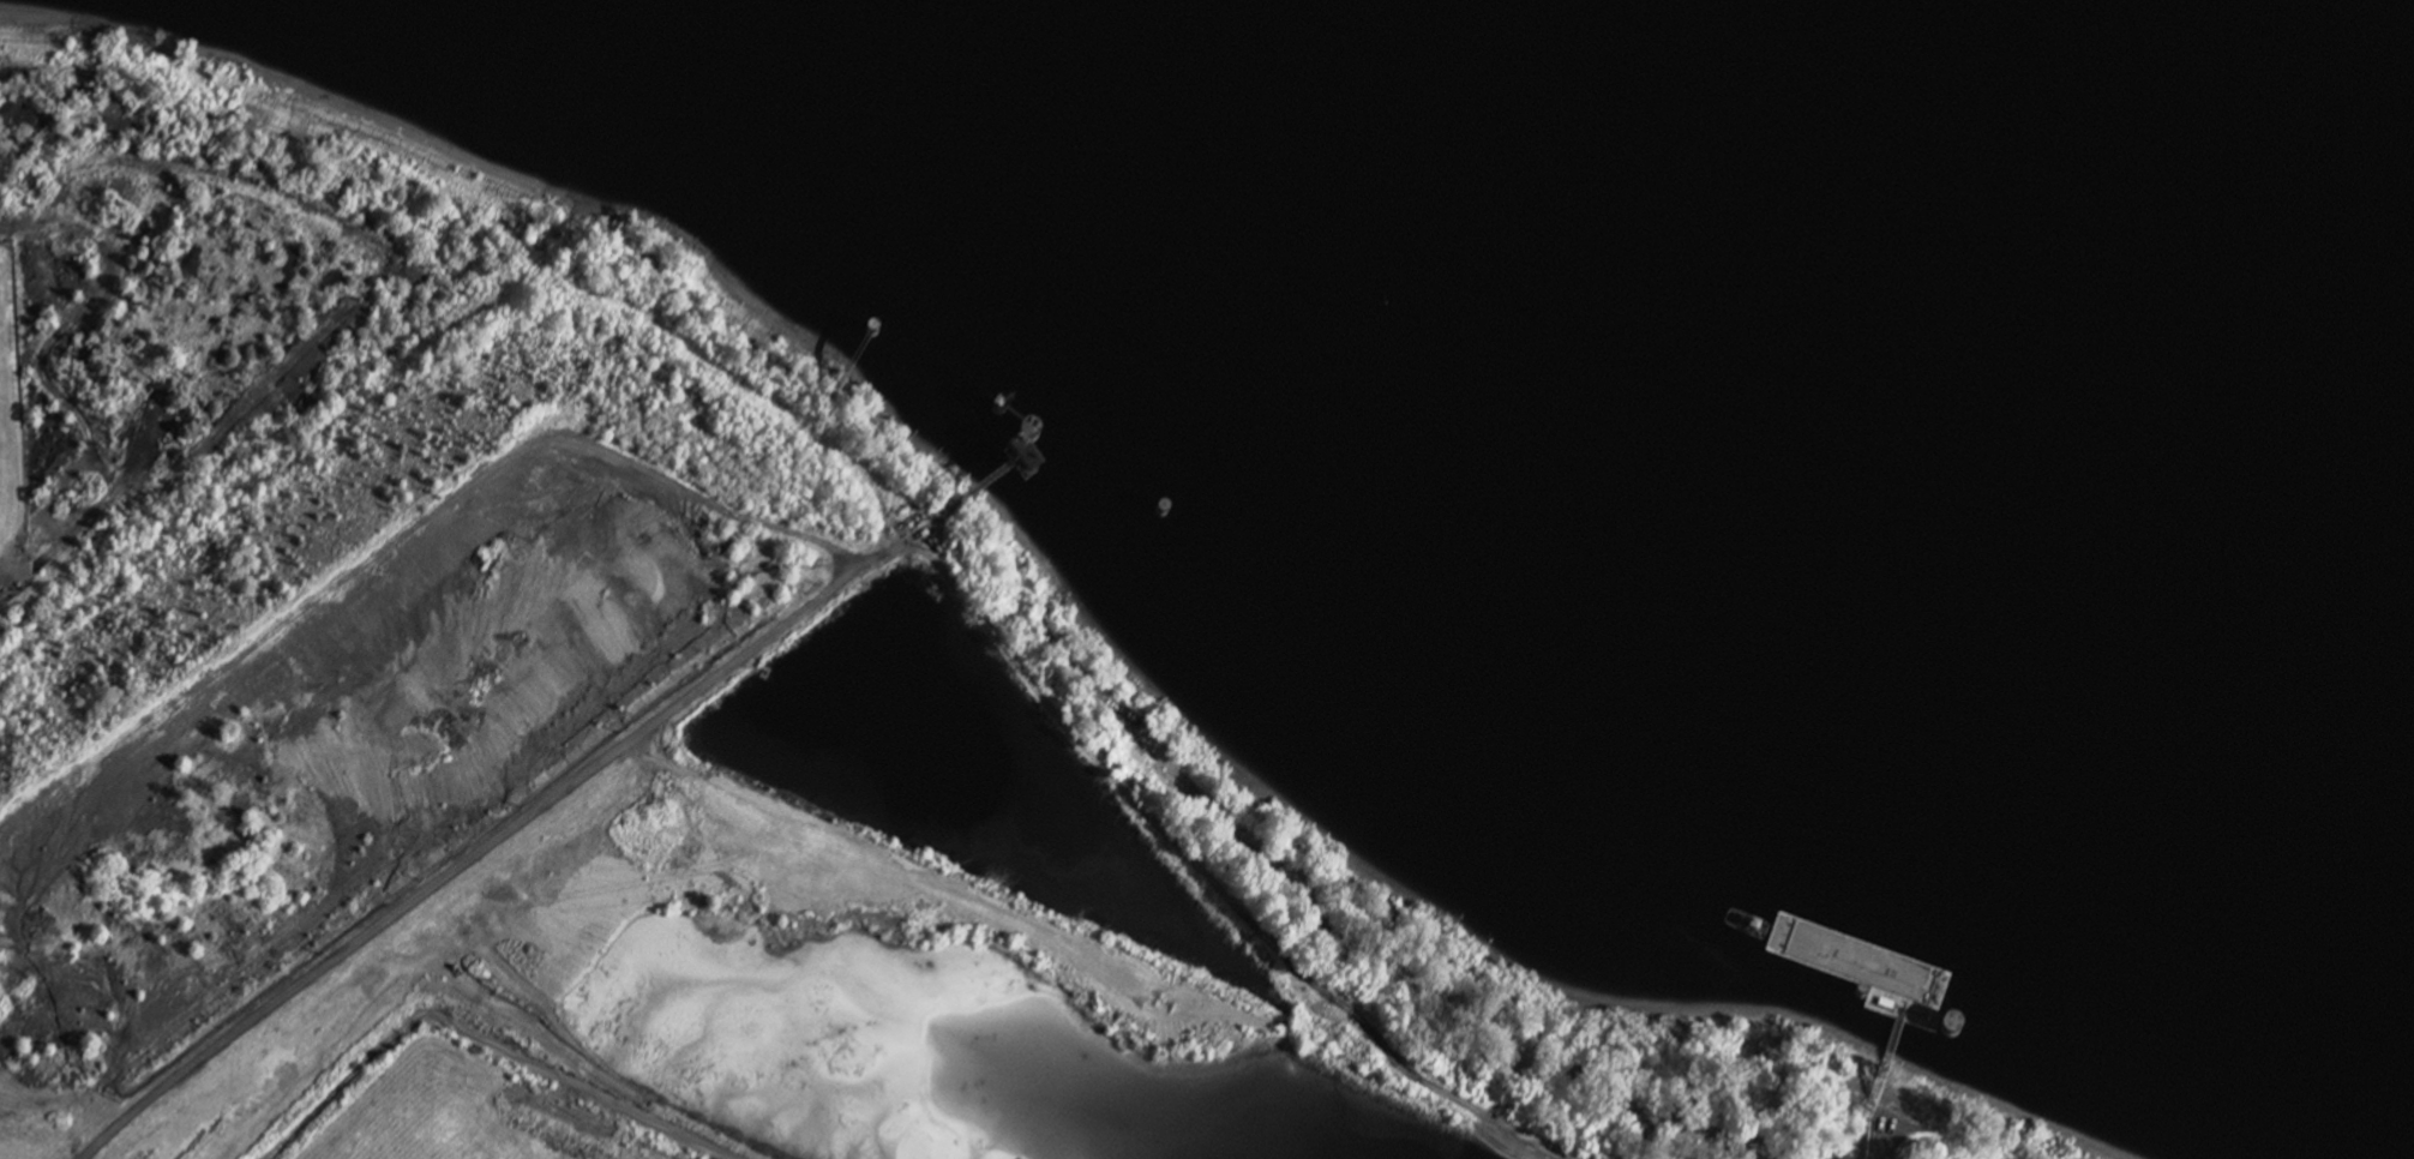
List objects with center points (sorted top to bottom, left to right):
river: (1827, 367)
road: (1885, 1139)

